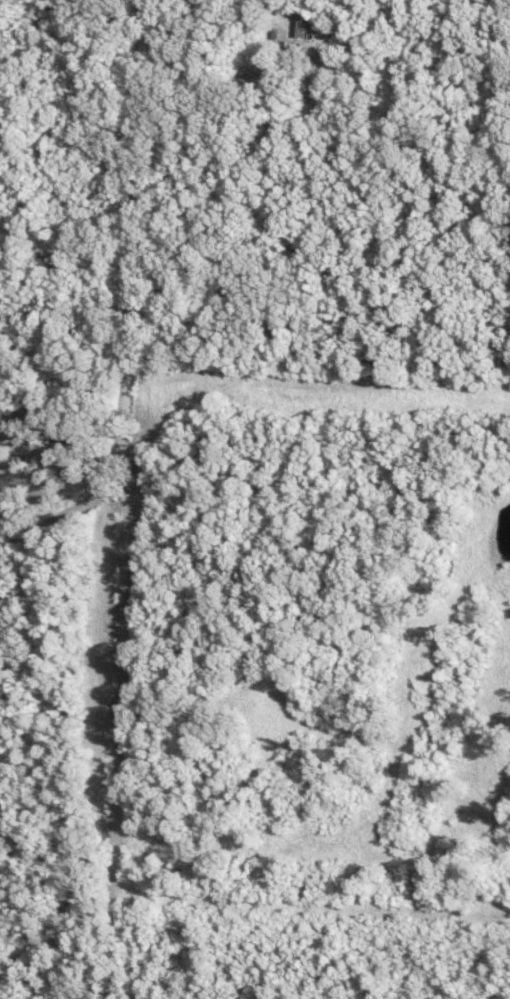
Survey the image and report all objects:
road: (115, 305)

